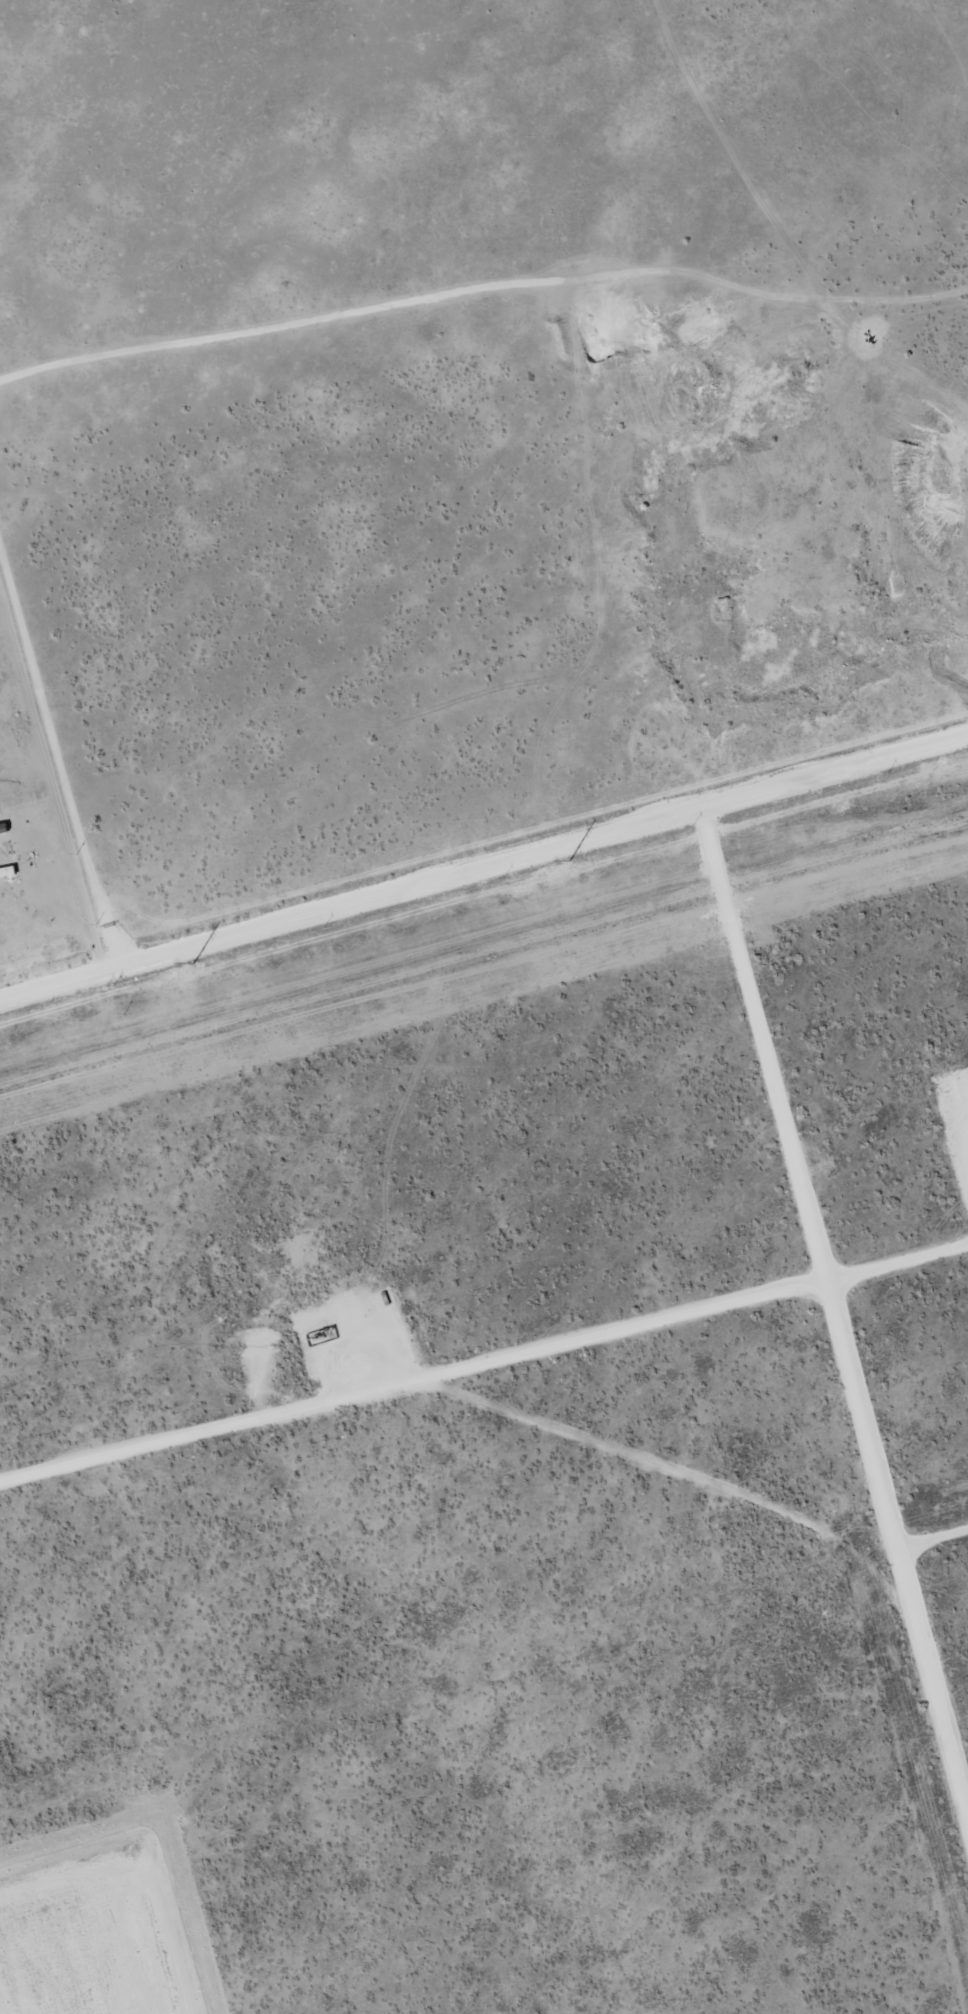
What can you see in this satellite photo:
power tower: (939, 759)
road: (483, 860)
power tower: (563, 862)
power tower: (186, 965)
road: (831, 1303)
road: (412, 1383)
road: (933, 1539)

